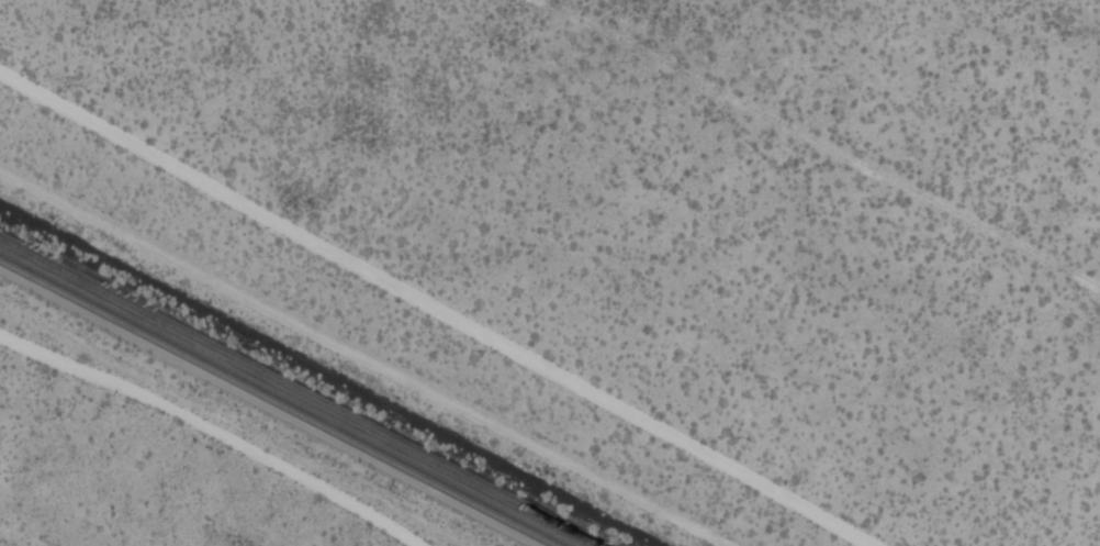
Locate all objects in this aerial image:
road: (446, 307)
railway: (296, 392)
railway: (283, 400)
road: (212, 432)

